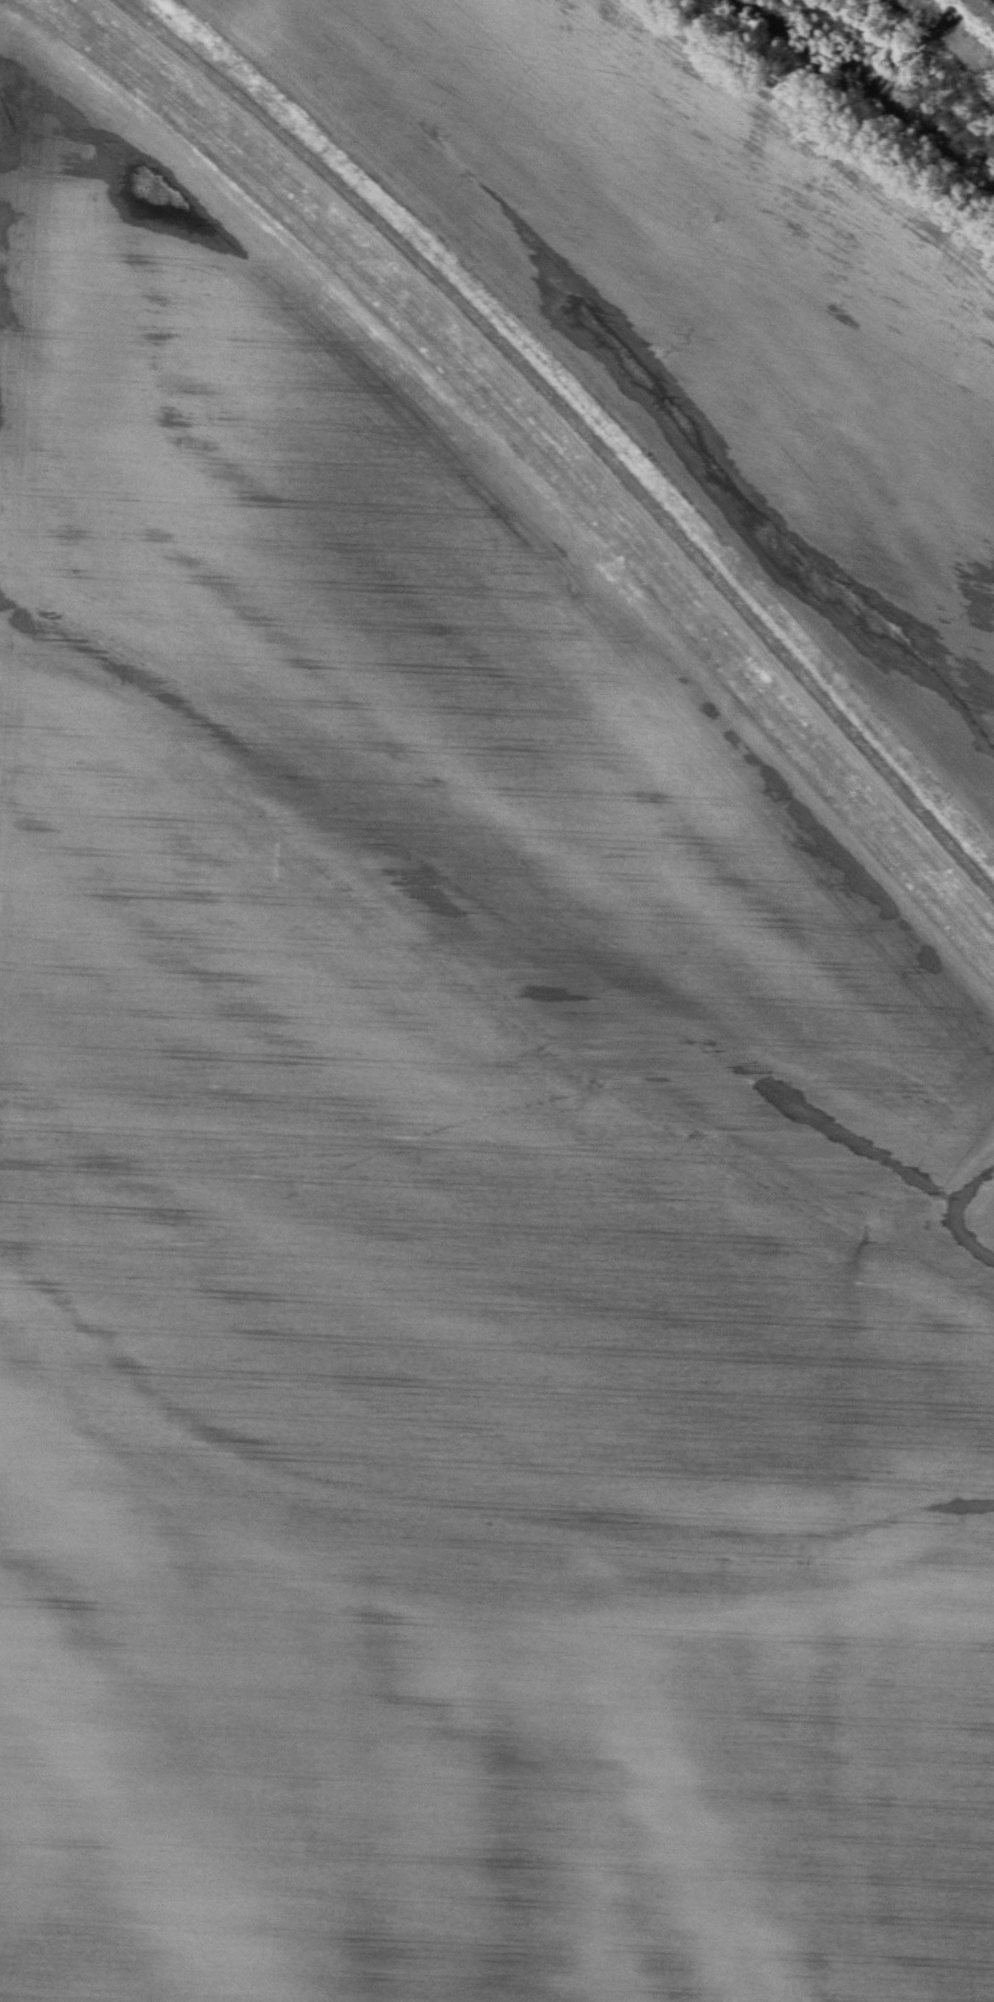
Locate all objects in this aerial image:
crop: (709, 302)
road: (572, 431)
crop: (442, 1198)

